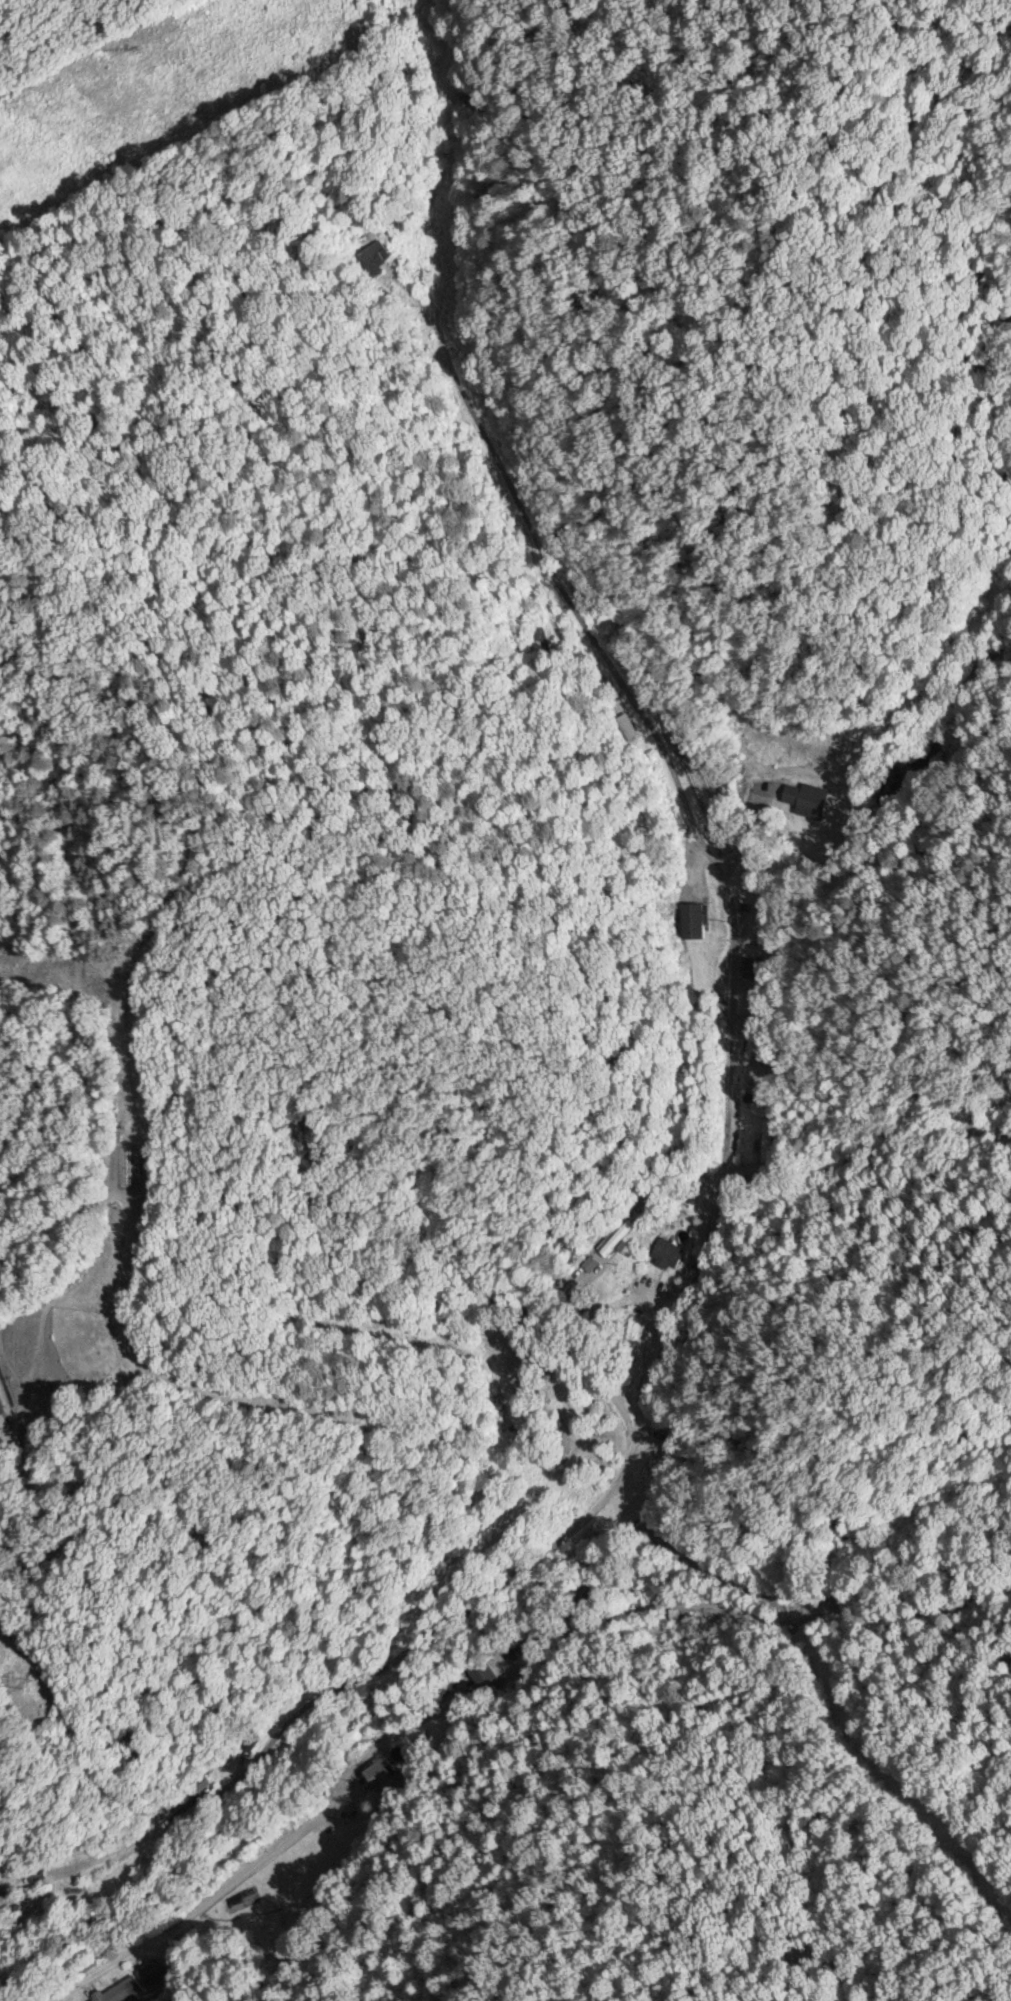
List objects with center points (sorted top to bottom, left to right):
building: (373, 256)
building: (804, 799)
building: (691, 919)
building: (767, 1140)
building: (615, 1235)
building: (665, 1251)
building: (516, 1389)
building: (0, 1409)
building: (653, 1462)
road: (394, 1756)
building: (380, 1770)
building: (34, 1879)
building: (151, 1972)
building: (119, 1990)

